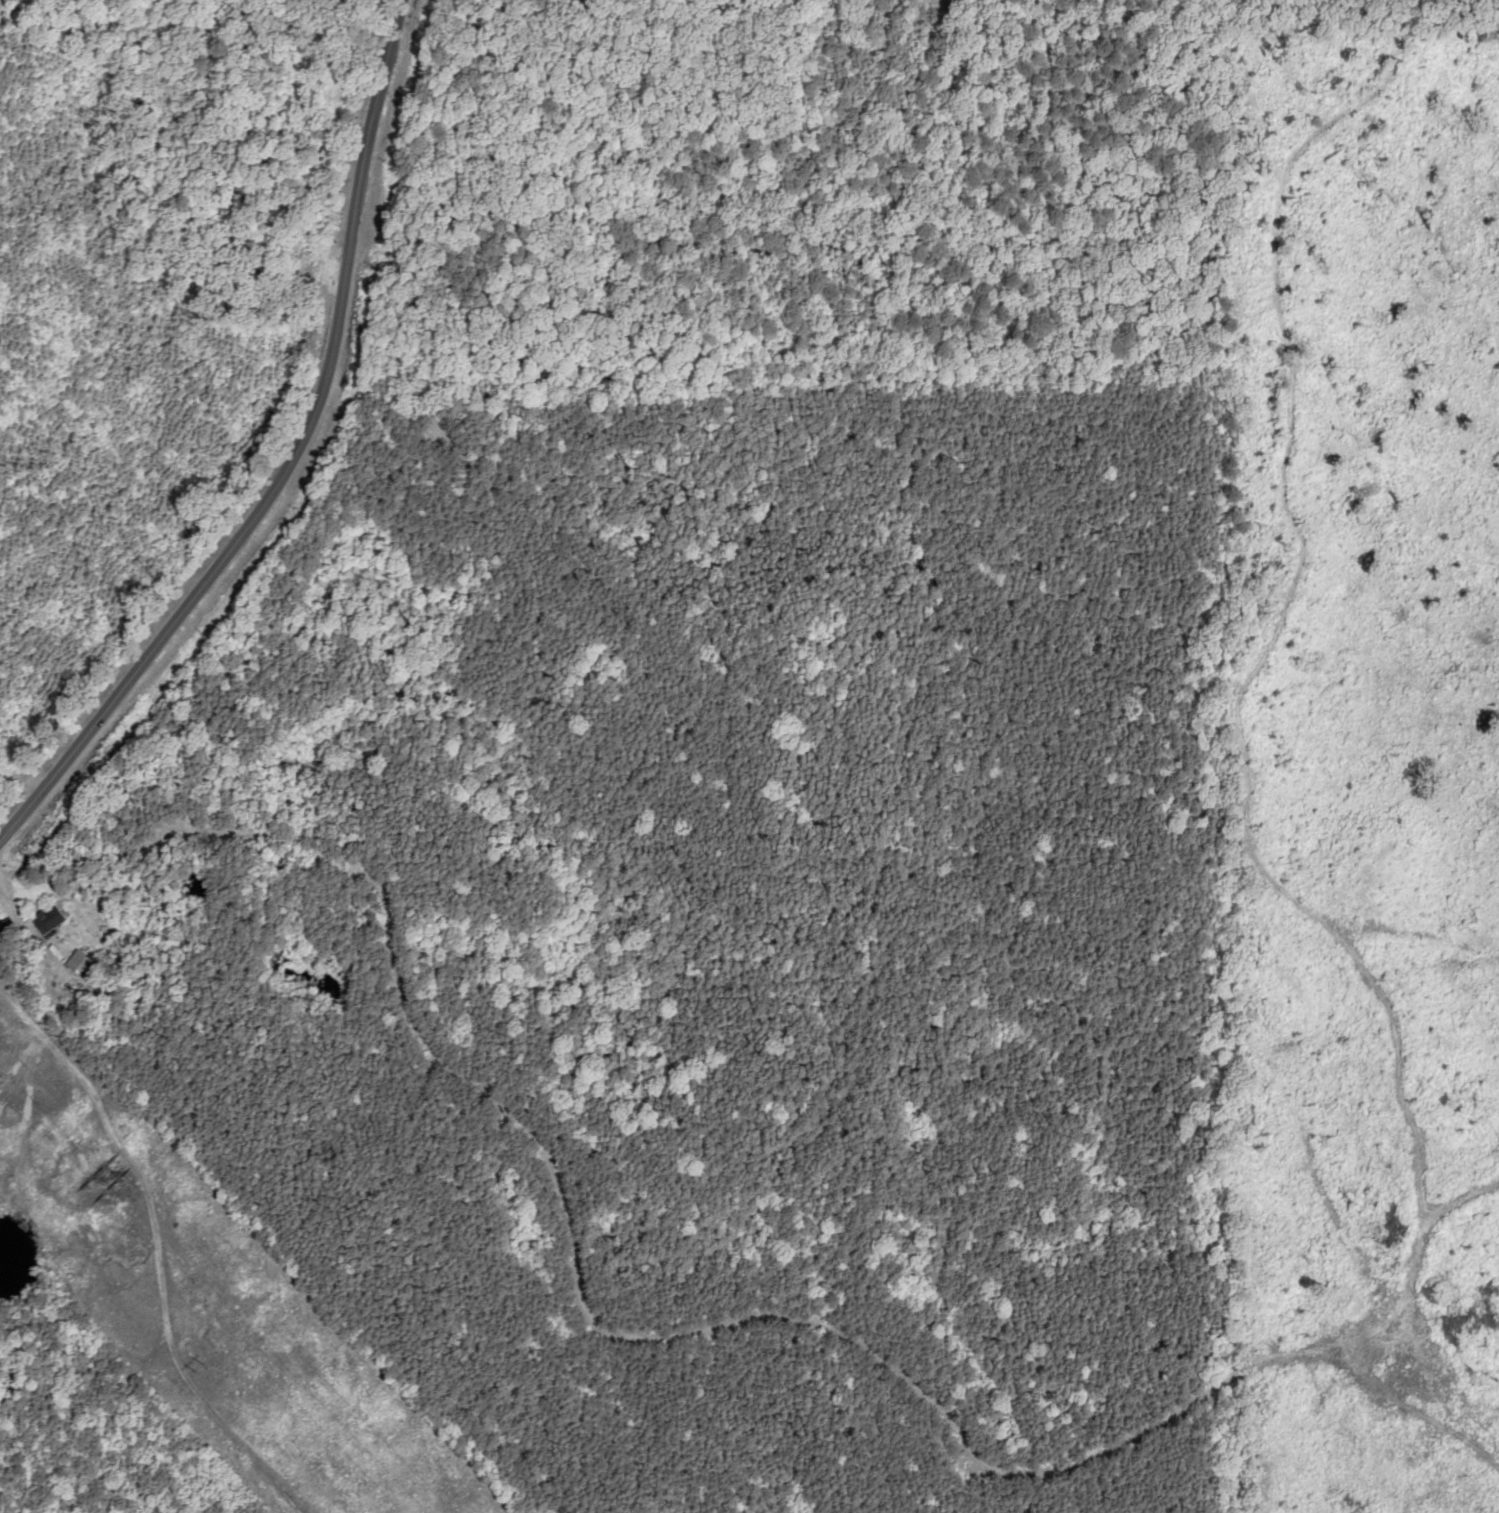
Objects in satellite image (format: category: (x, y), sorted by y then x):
road: (299, 461)
building: (49, 919)
power tower: (102, 1186)
power tower: (199, 1366)

